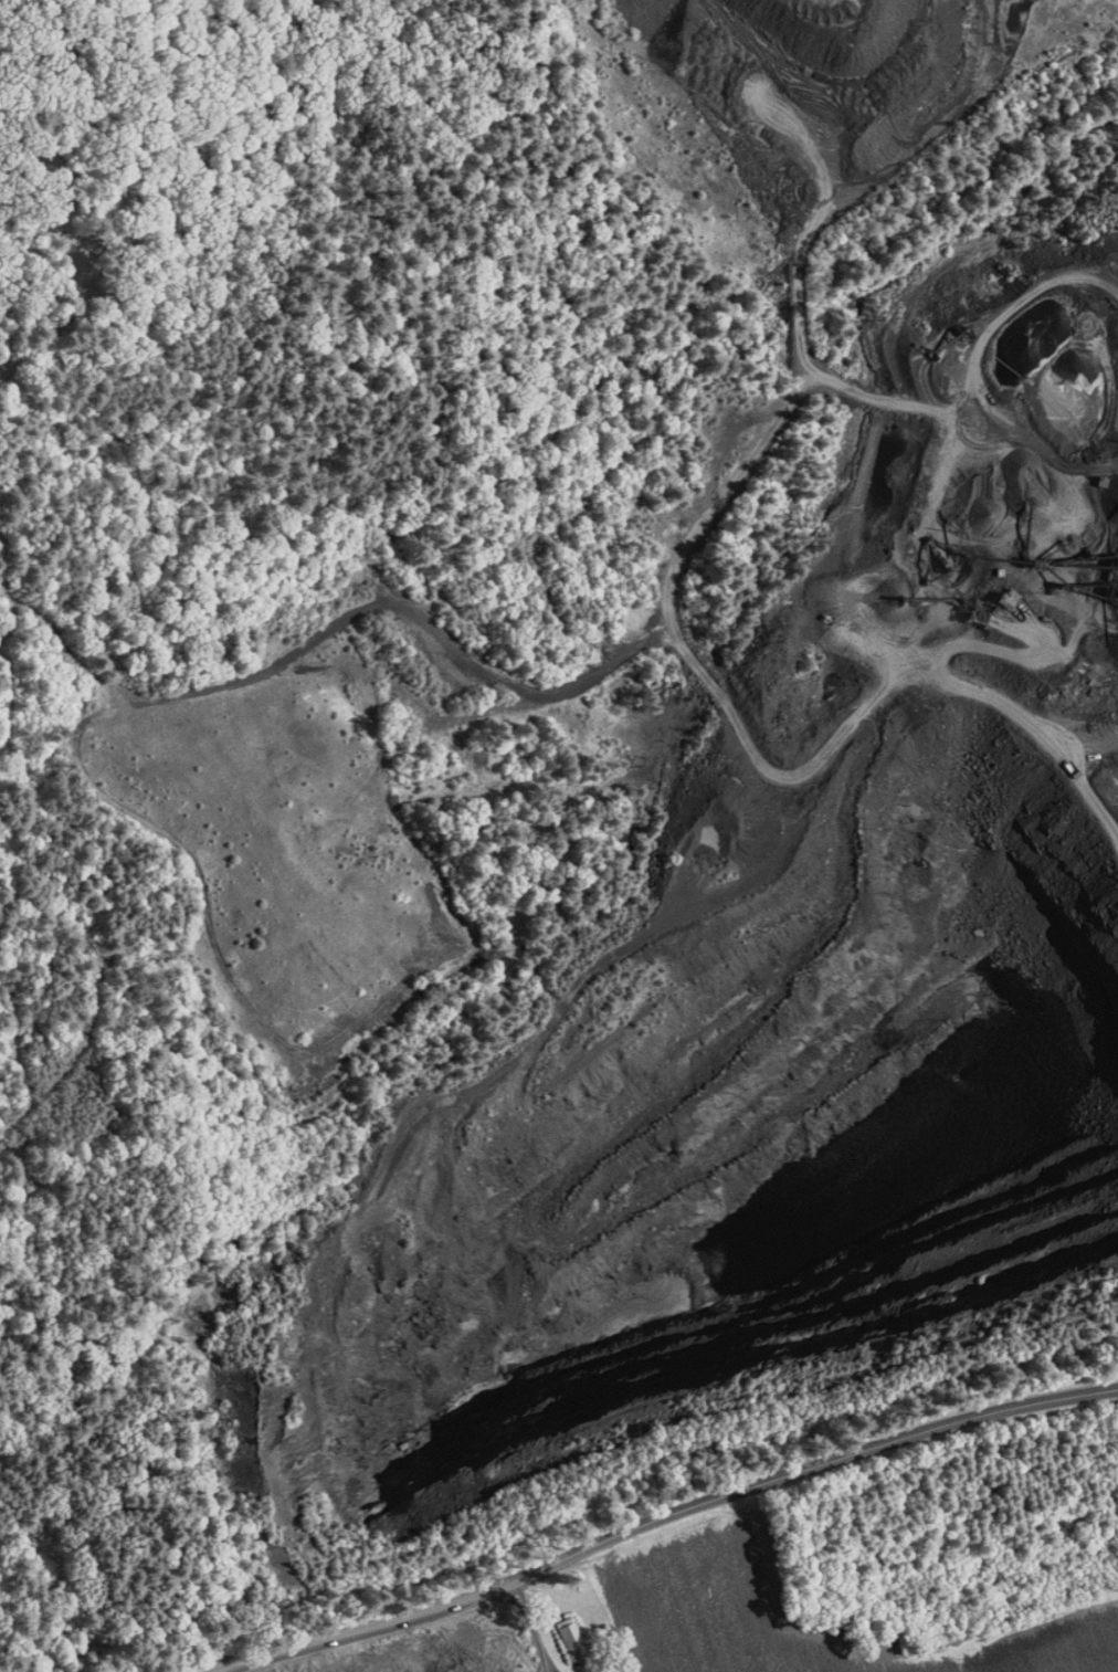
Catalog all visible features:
quarry: (651, 940)
road: (665, 1517)
road: (530, 1628)

